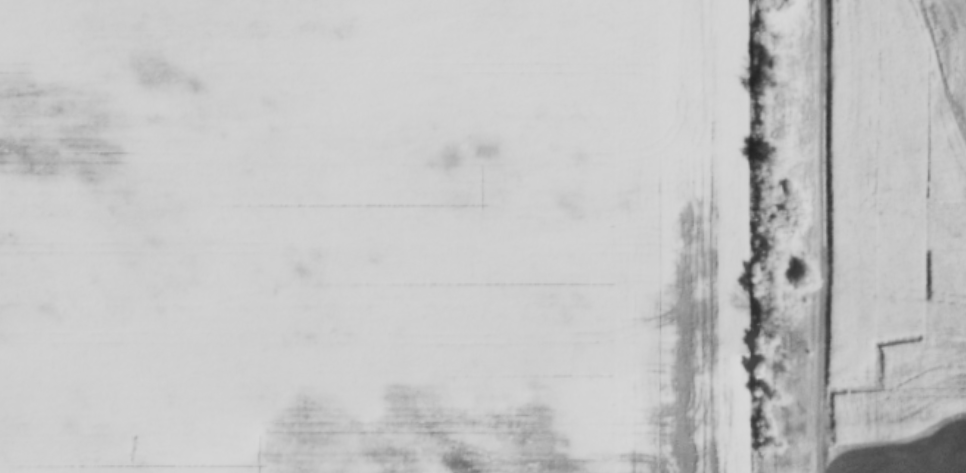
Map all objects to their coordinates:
road: (812, 236)

